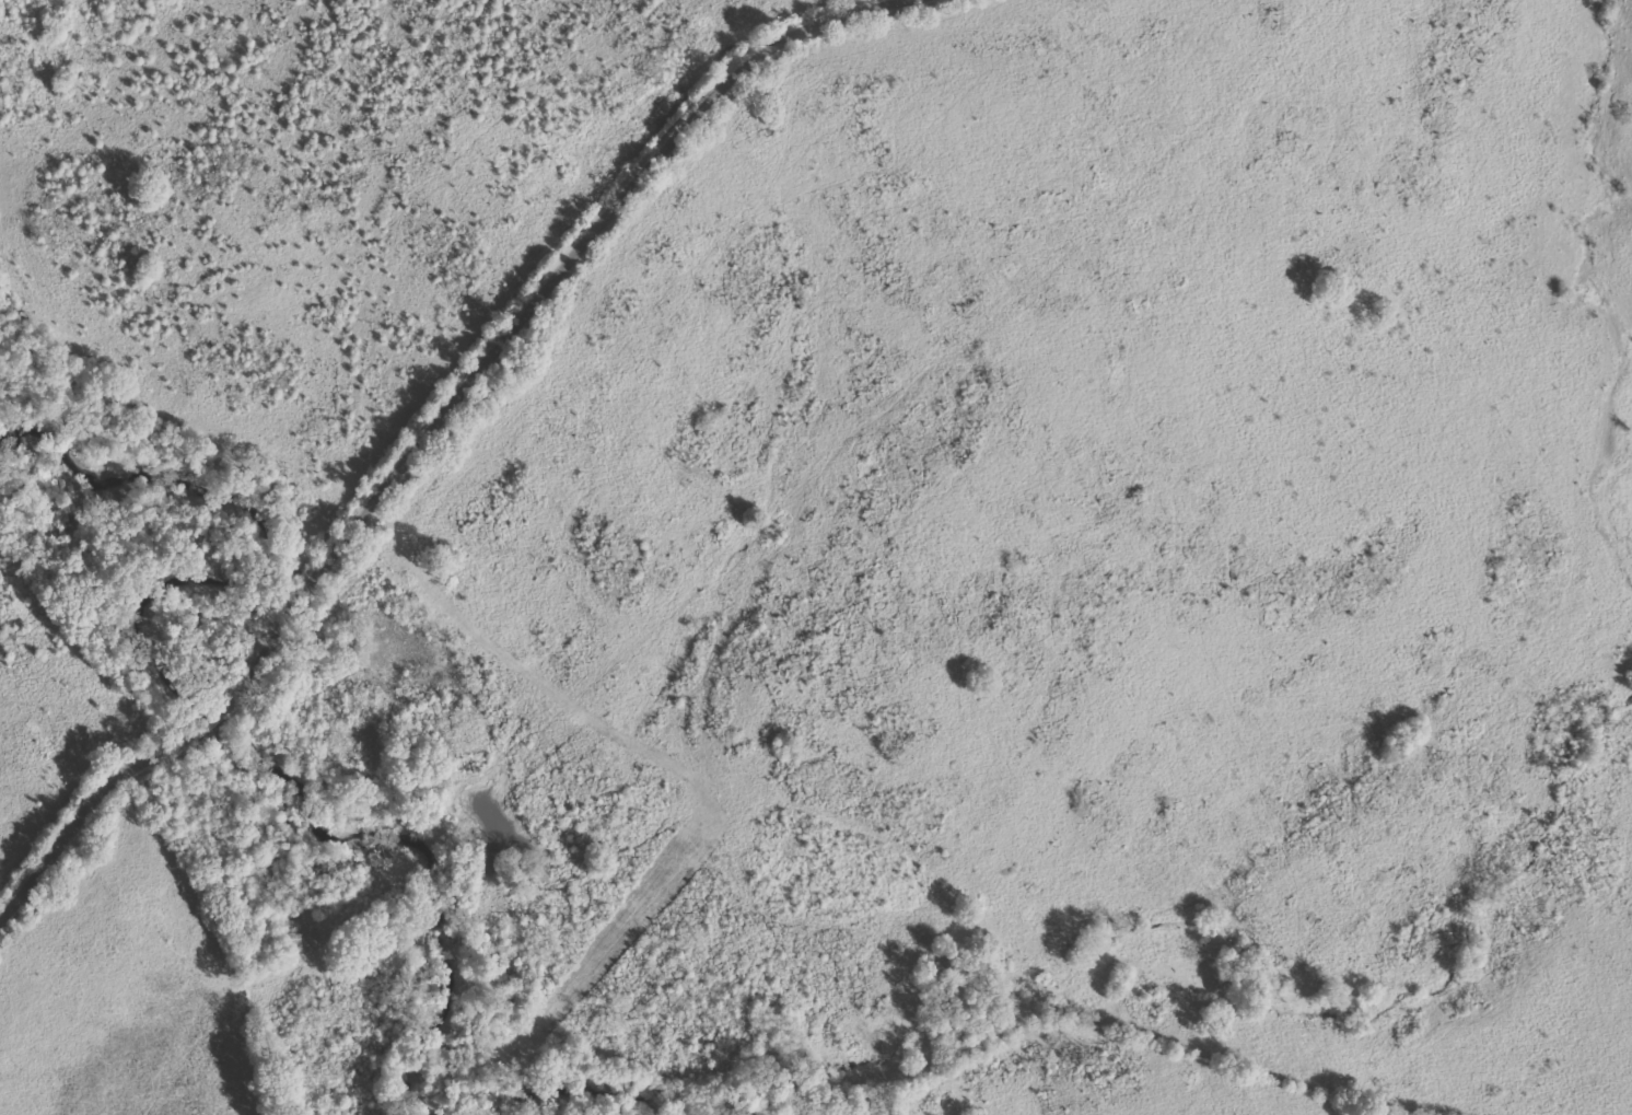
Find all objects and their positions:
road: (421, 423)

